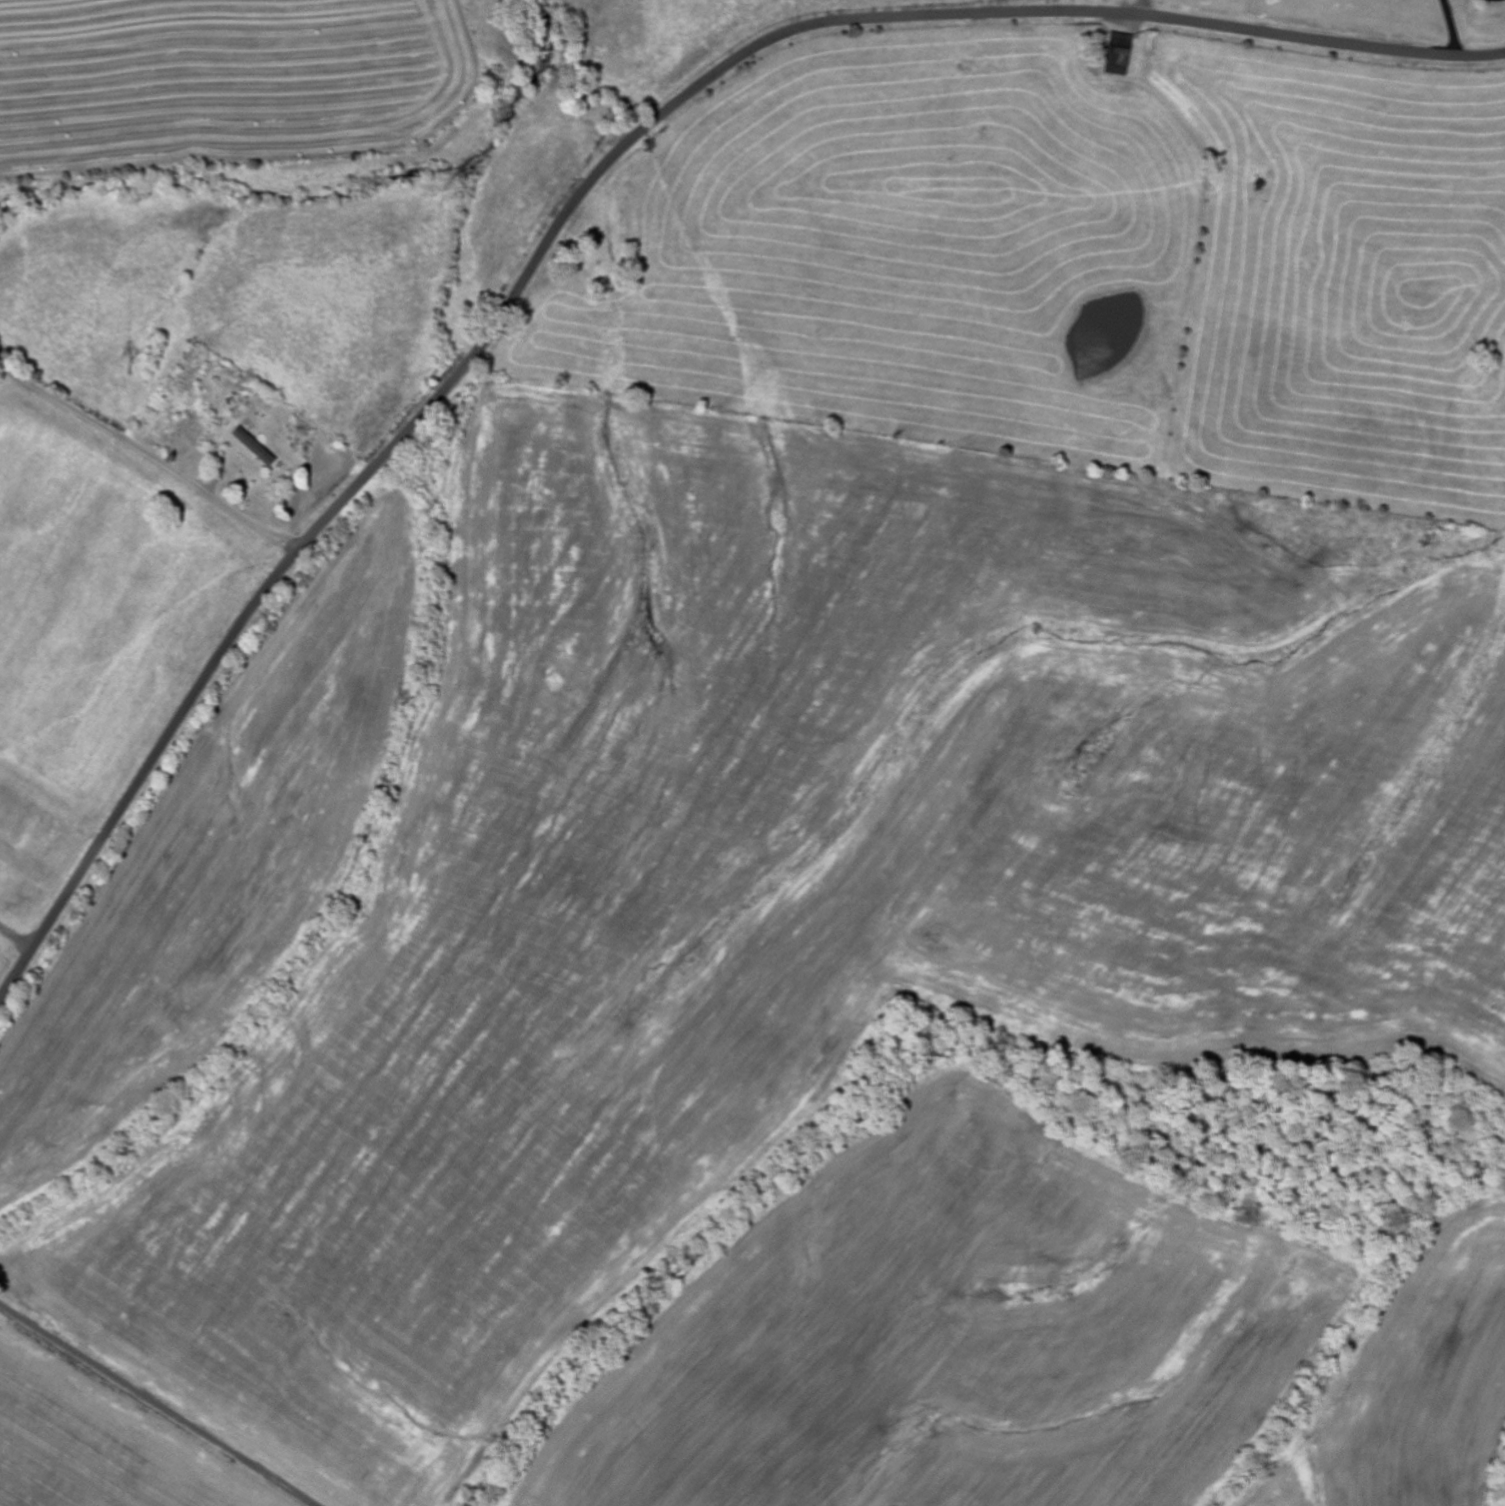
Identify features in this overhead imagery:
building: (1115, 56)
road: (579, 197)
road: (149, 456)
road: (157, 1406)

